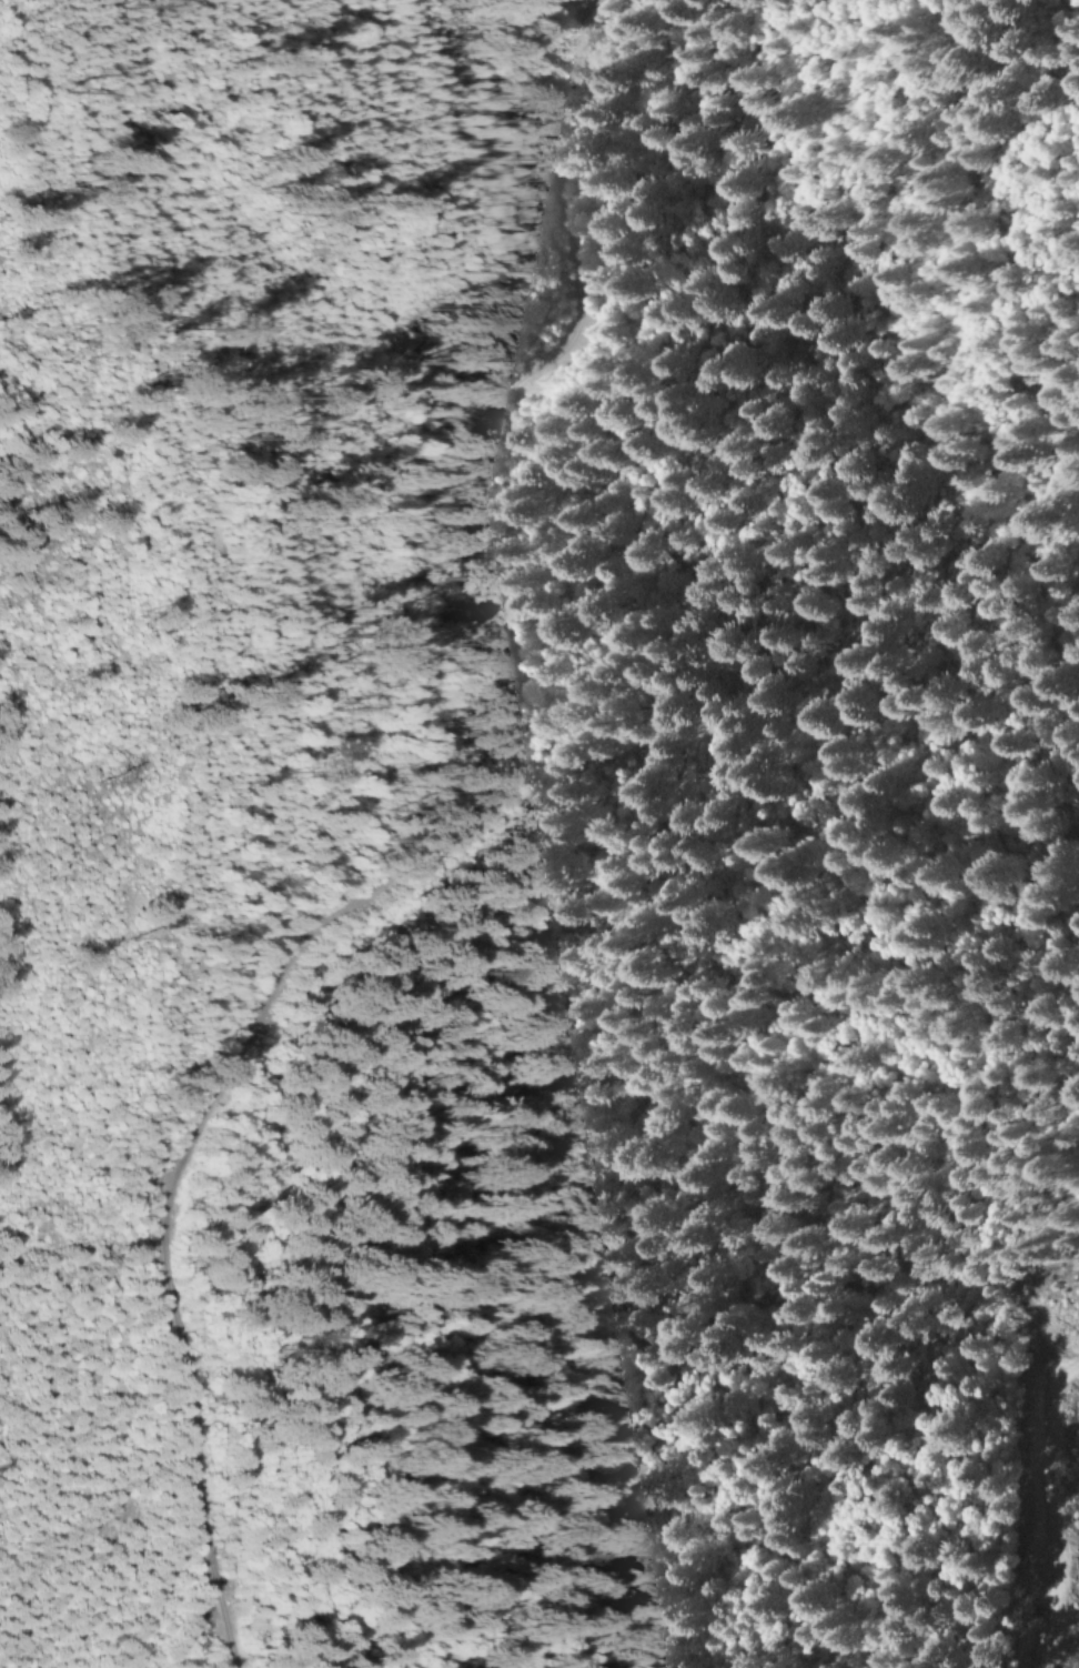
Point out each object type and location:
road: (455, 828)
road: (229, 1654)

